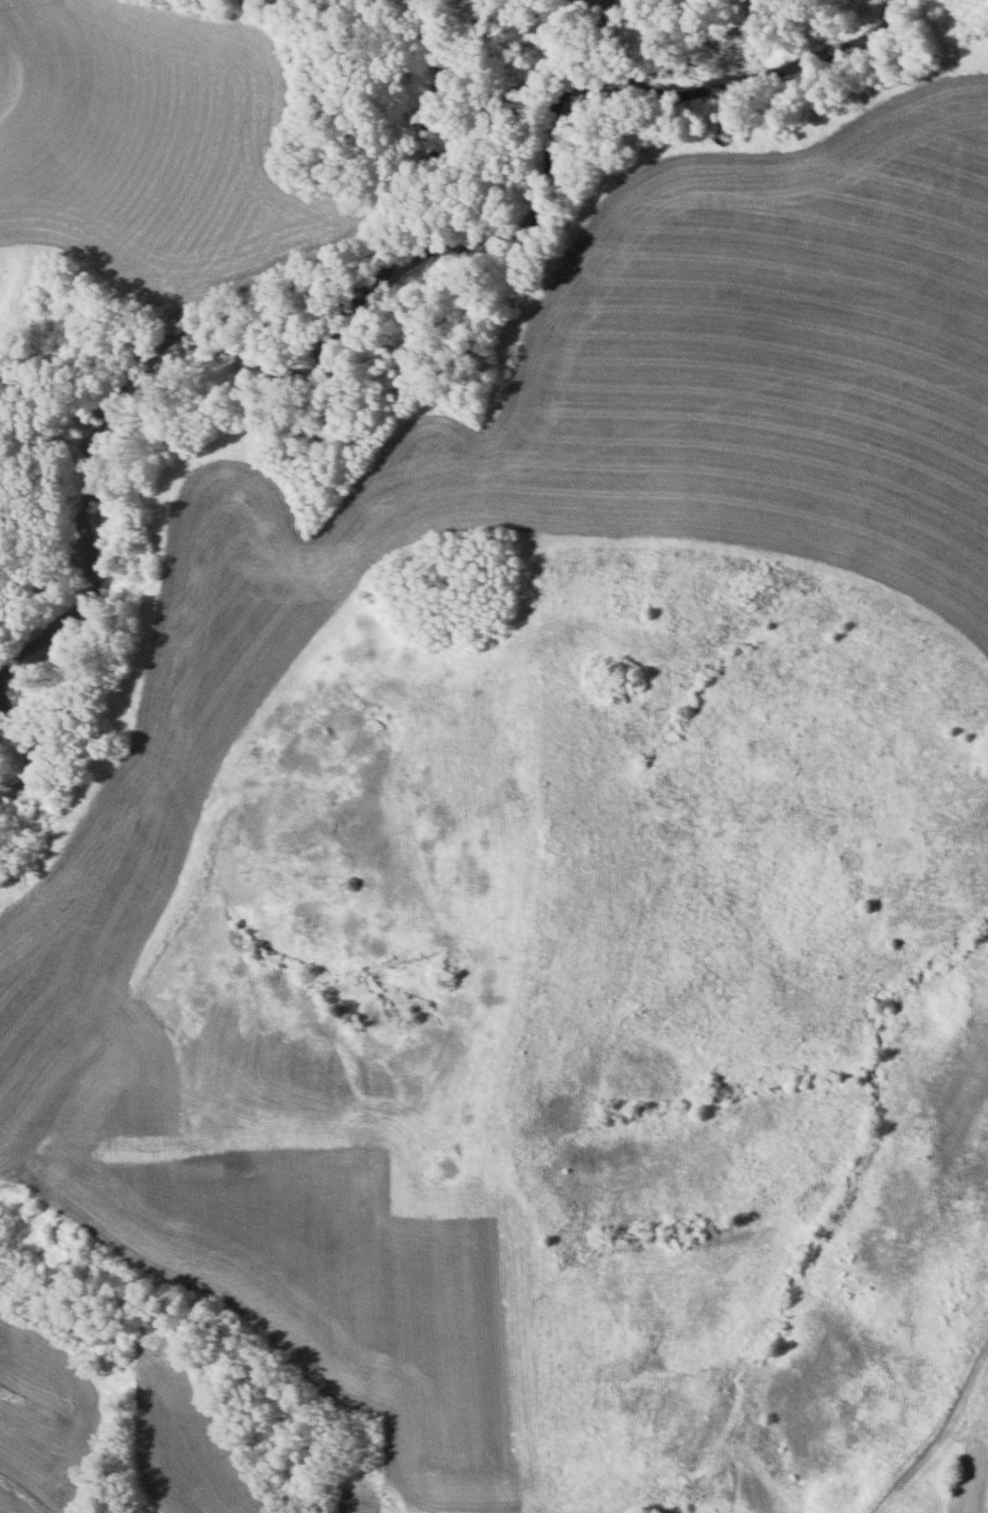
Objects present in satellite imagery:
power tower: (976, 38)

